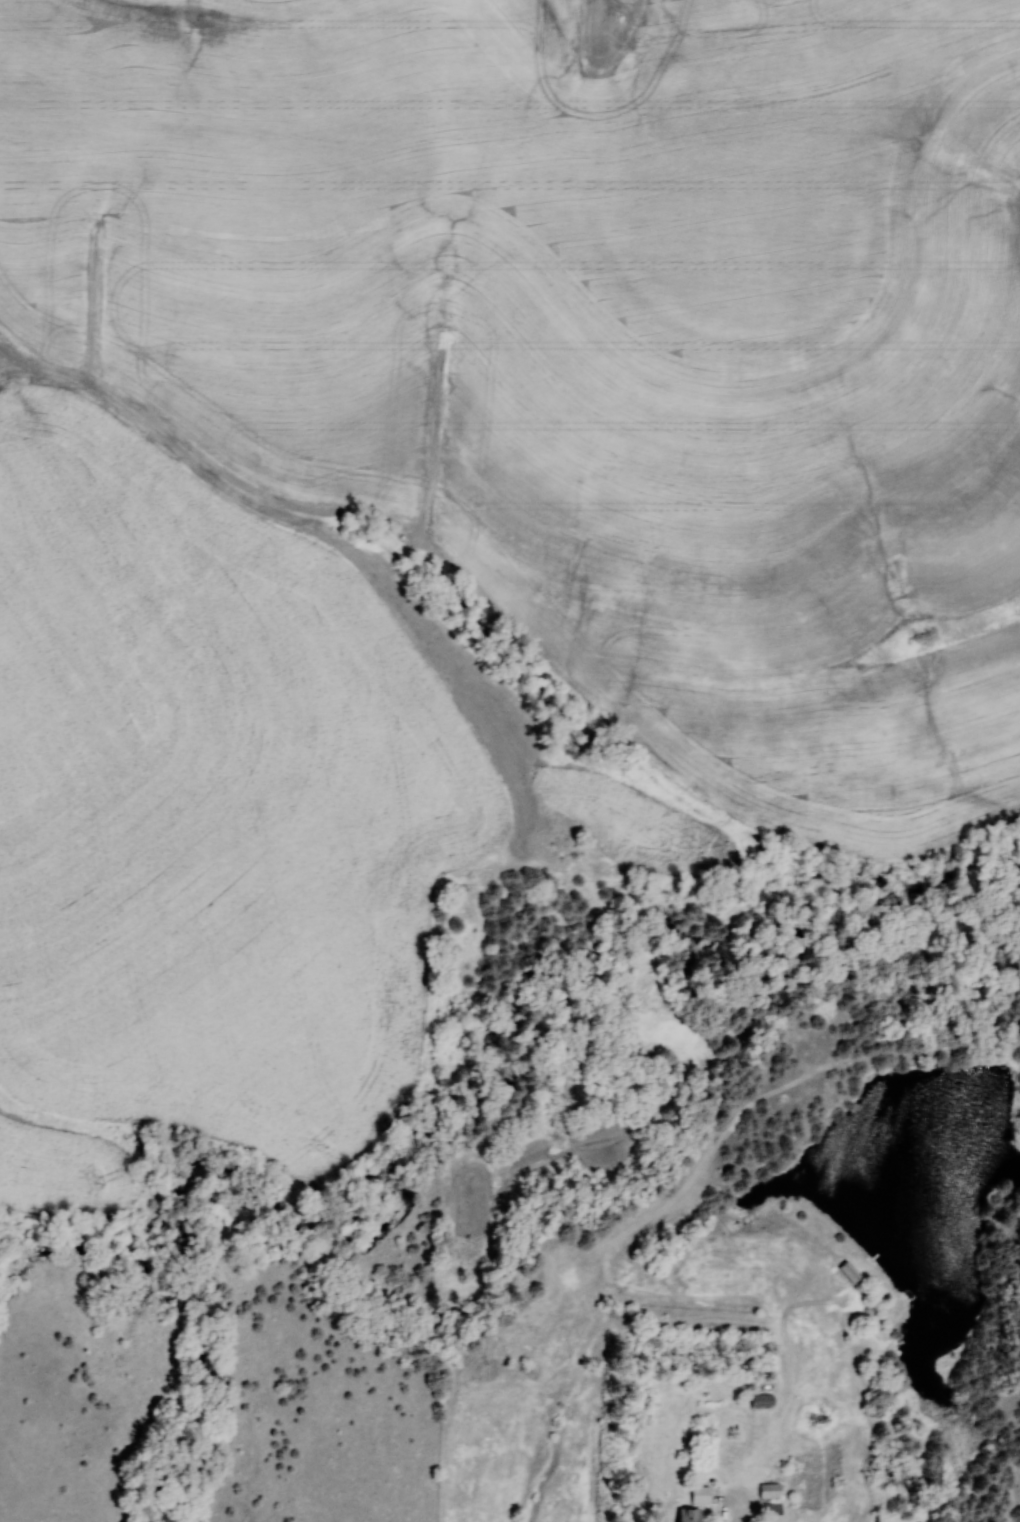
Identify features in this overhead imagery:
building: (760, 1399)
building: (768, 1490)
building: (698, 1493)
road: (731, 1508)
building: (686, 1514)

